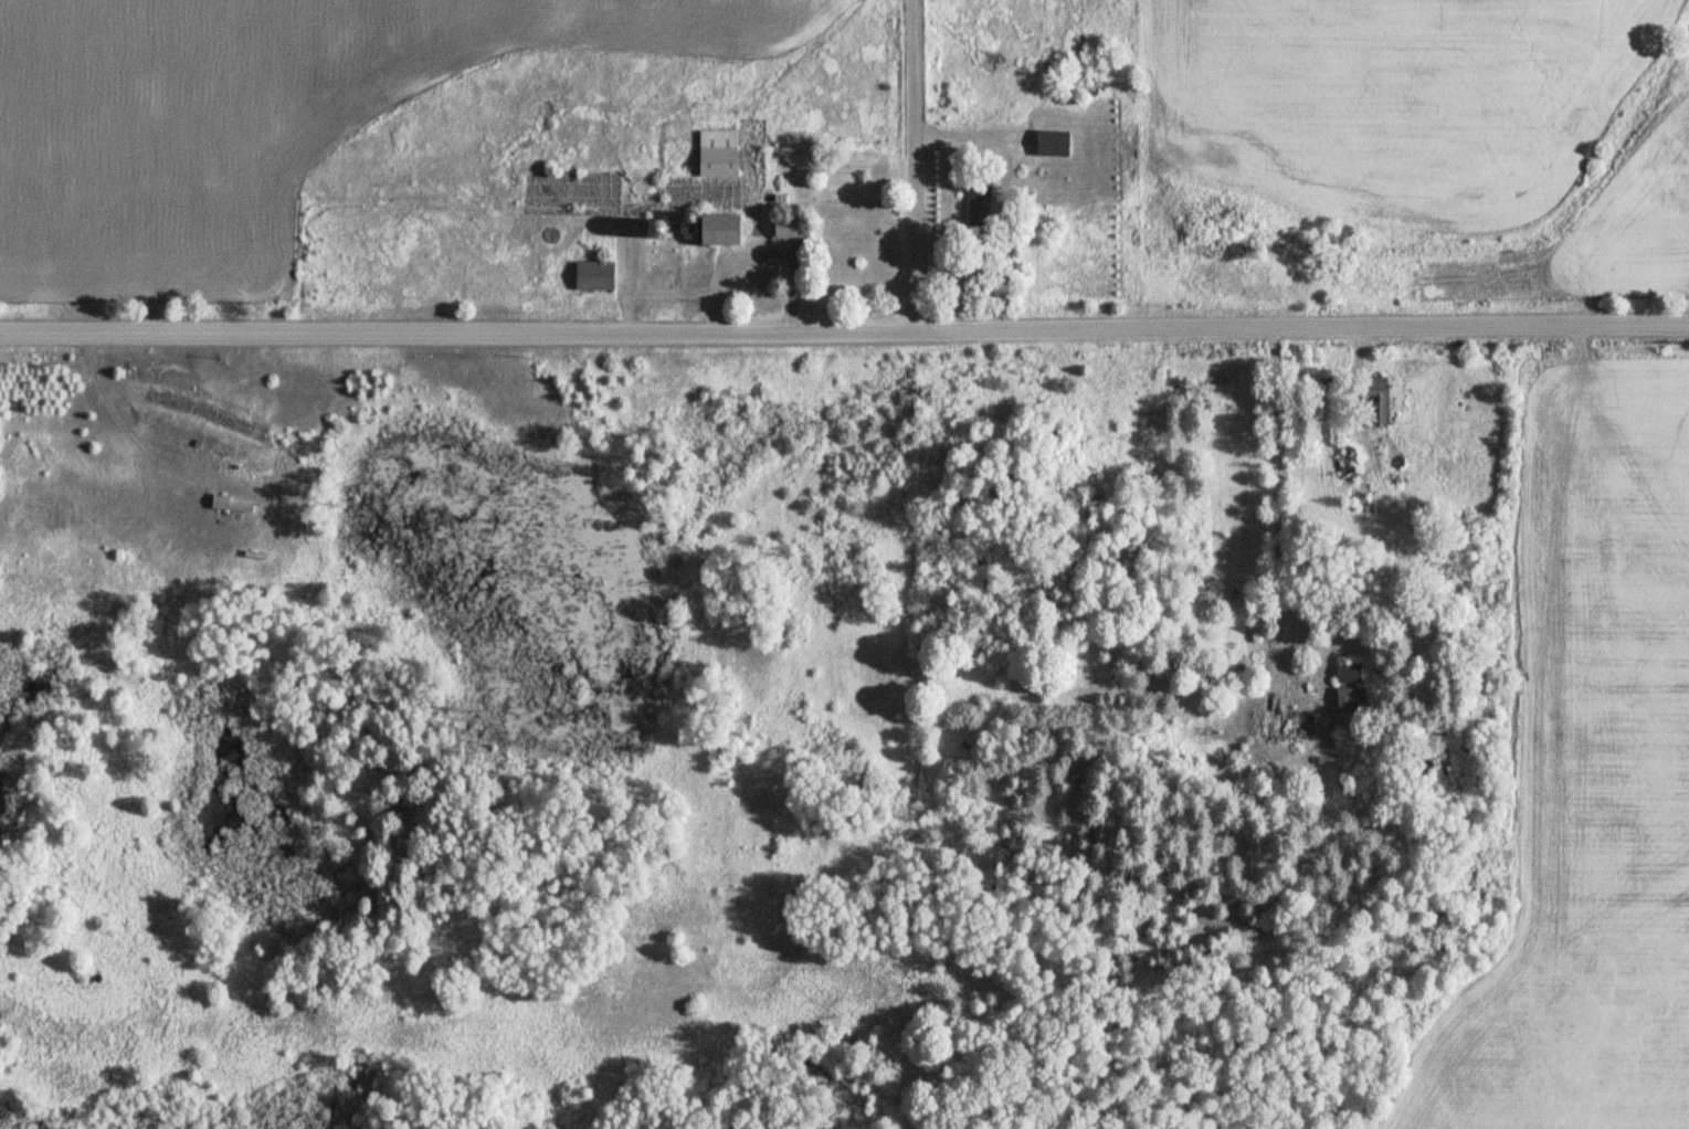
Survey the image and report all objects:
building: (1059, 144)
building: (722, 154)
road: (914, 172)
building: (982, 207)
building: (795, 229)
building: (733, 230)
building: (600, 275)
road: (844, 346)
building: (230, 504)
road: (1260, 518)
building: (1351, 672)
building: (1355, 697)
building: (1296, 724)

